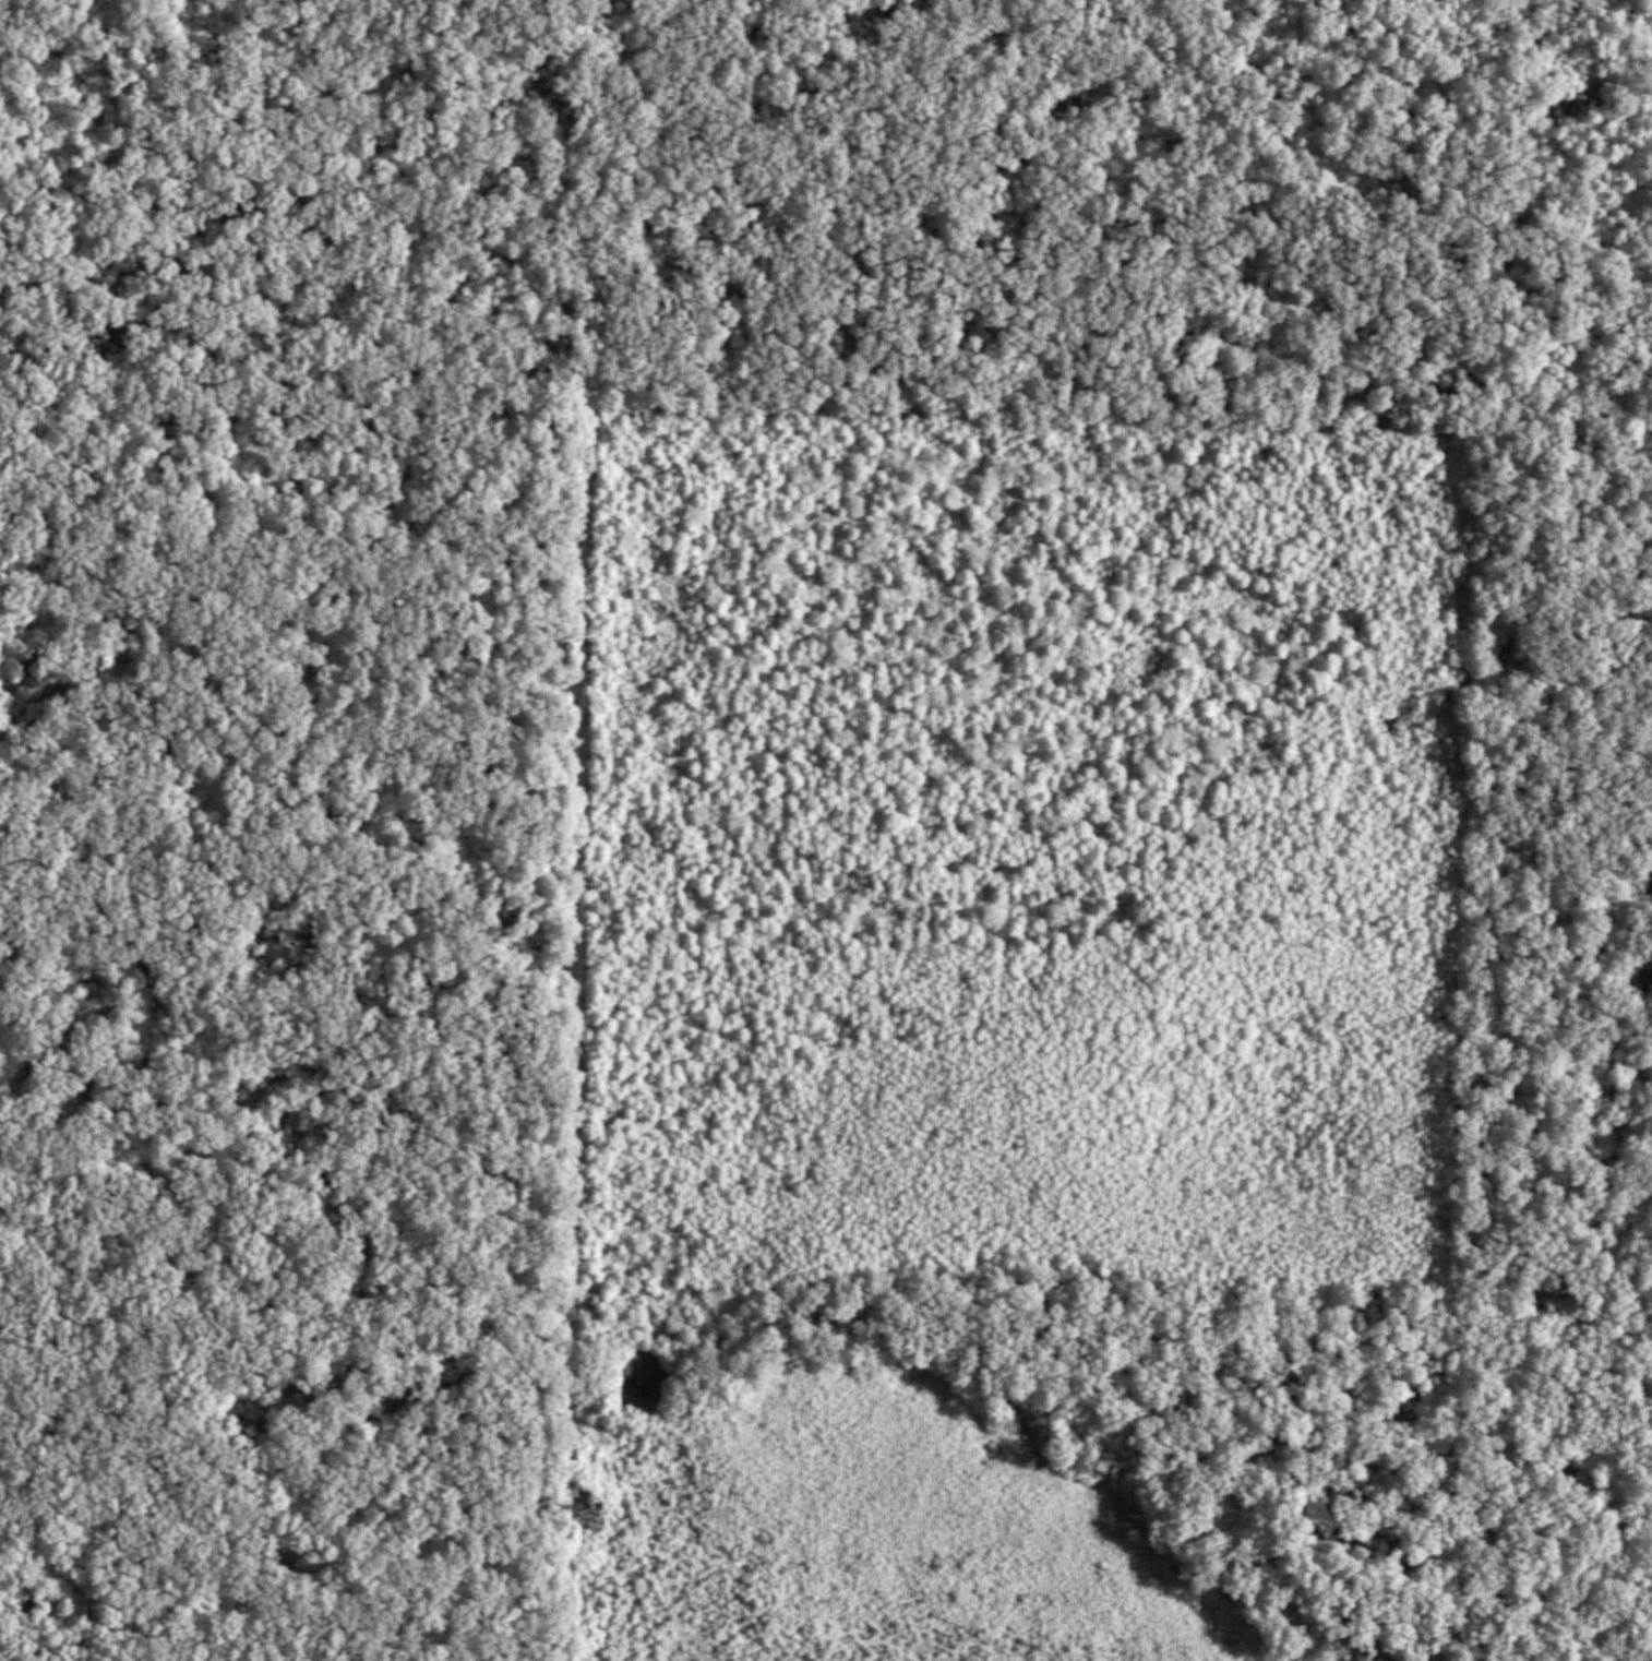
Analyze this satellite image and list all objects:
road: (589, 1051)

